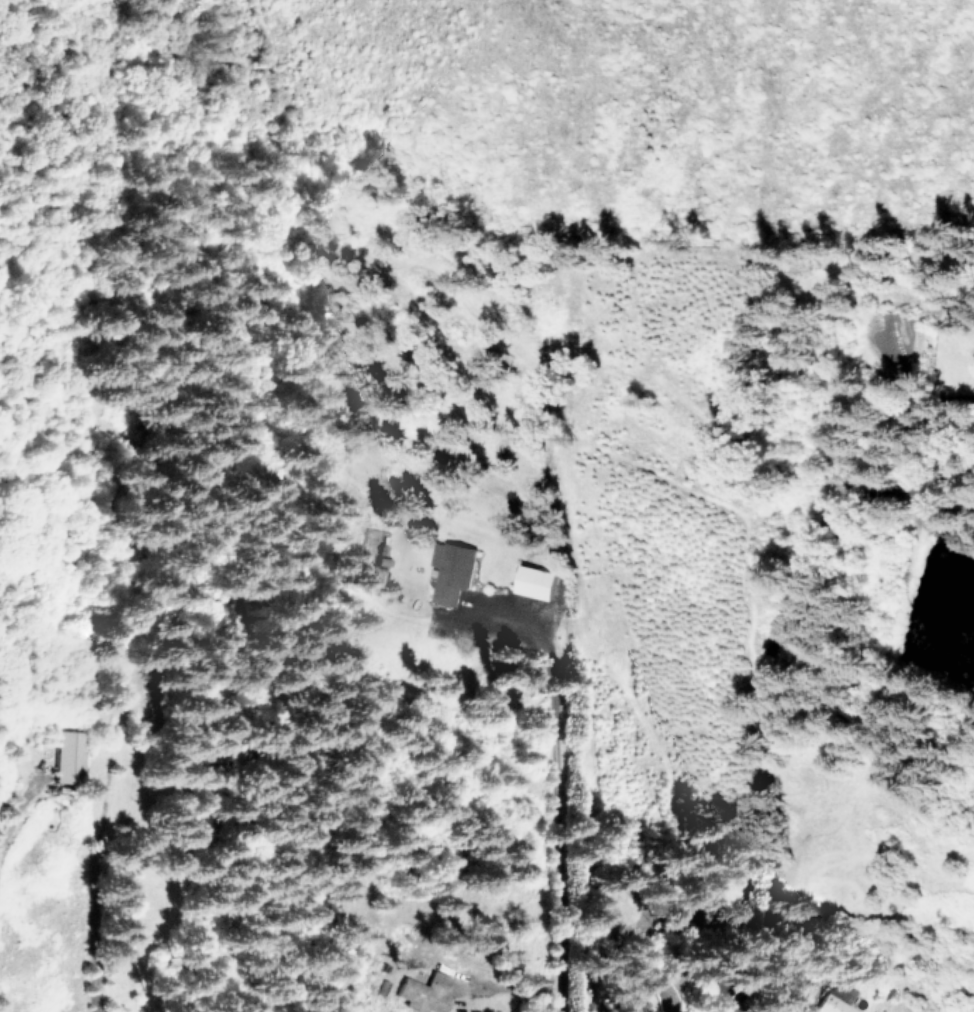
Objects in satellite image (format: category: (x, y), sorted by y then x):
building: (450, 570)
building: (532, 581)
building: (67, 756)
road: (557, 782)
road: (17, 817)
road: (100, 902)
building: (422, 992)
building: (834, 999)

